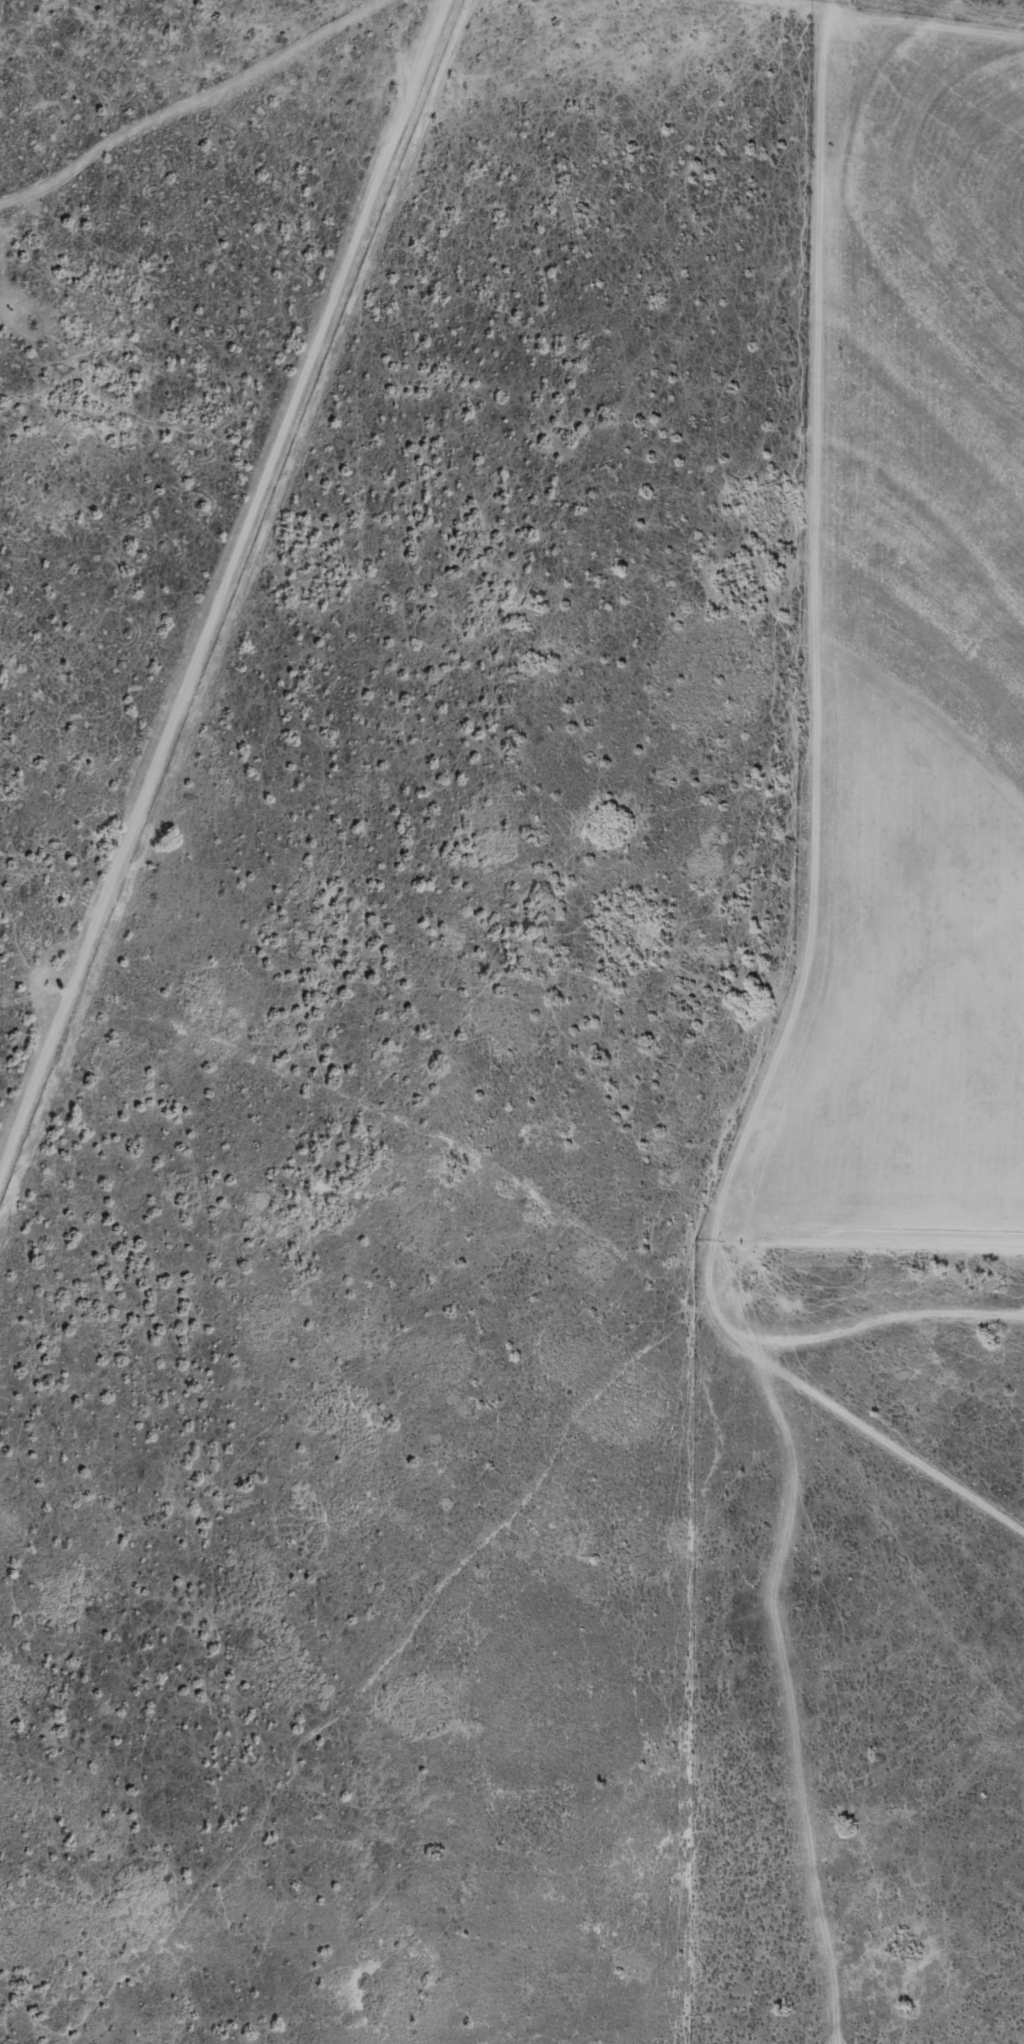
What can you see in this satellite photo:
road: (202, 502)
road: (796, 745)
road: (875, 1270)
road: (908, 1488)
road: (774, 1747)

